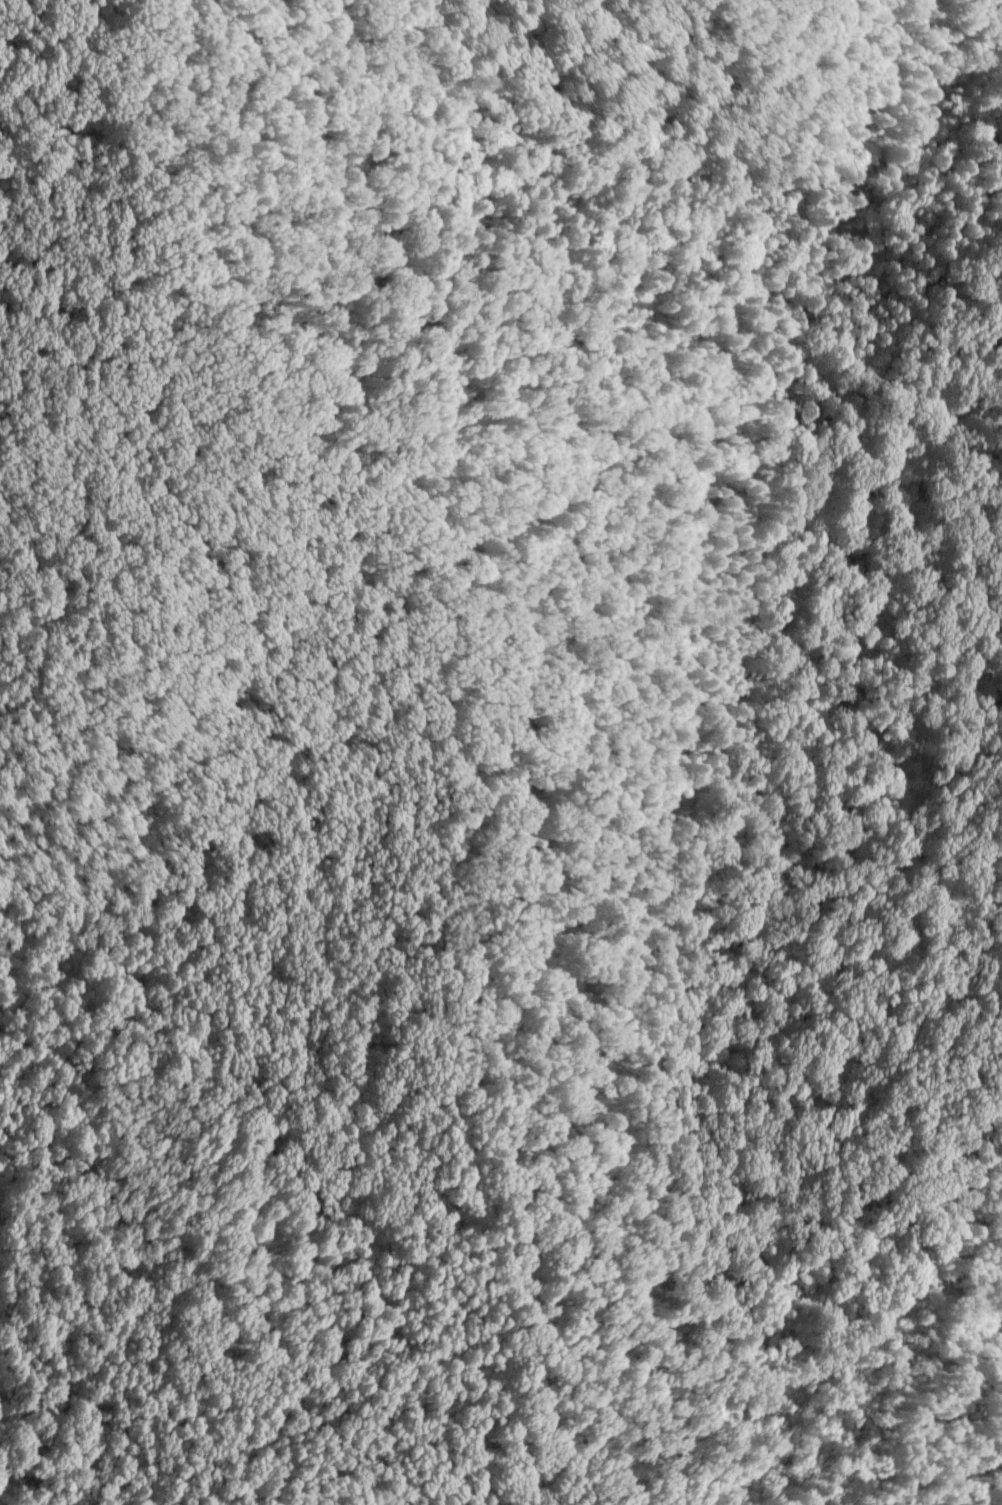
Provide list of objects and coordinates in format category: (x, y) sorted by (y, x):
road: (960, 108)

